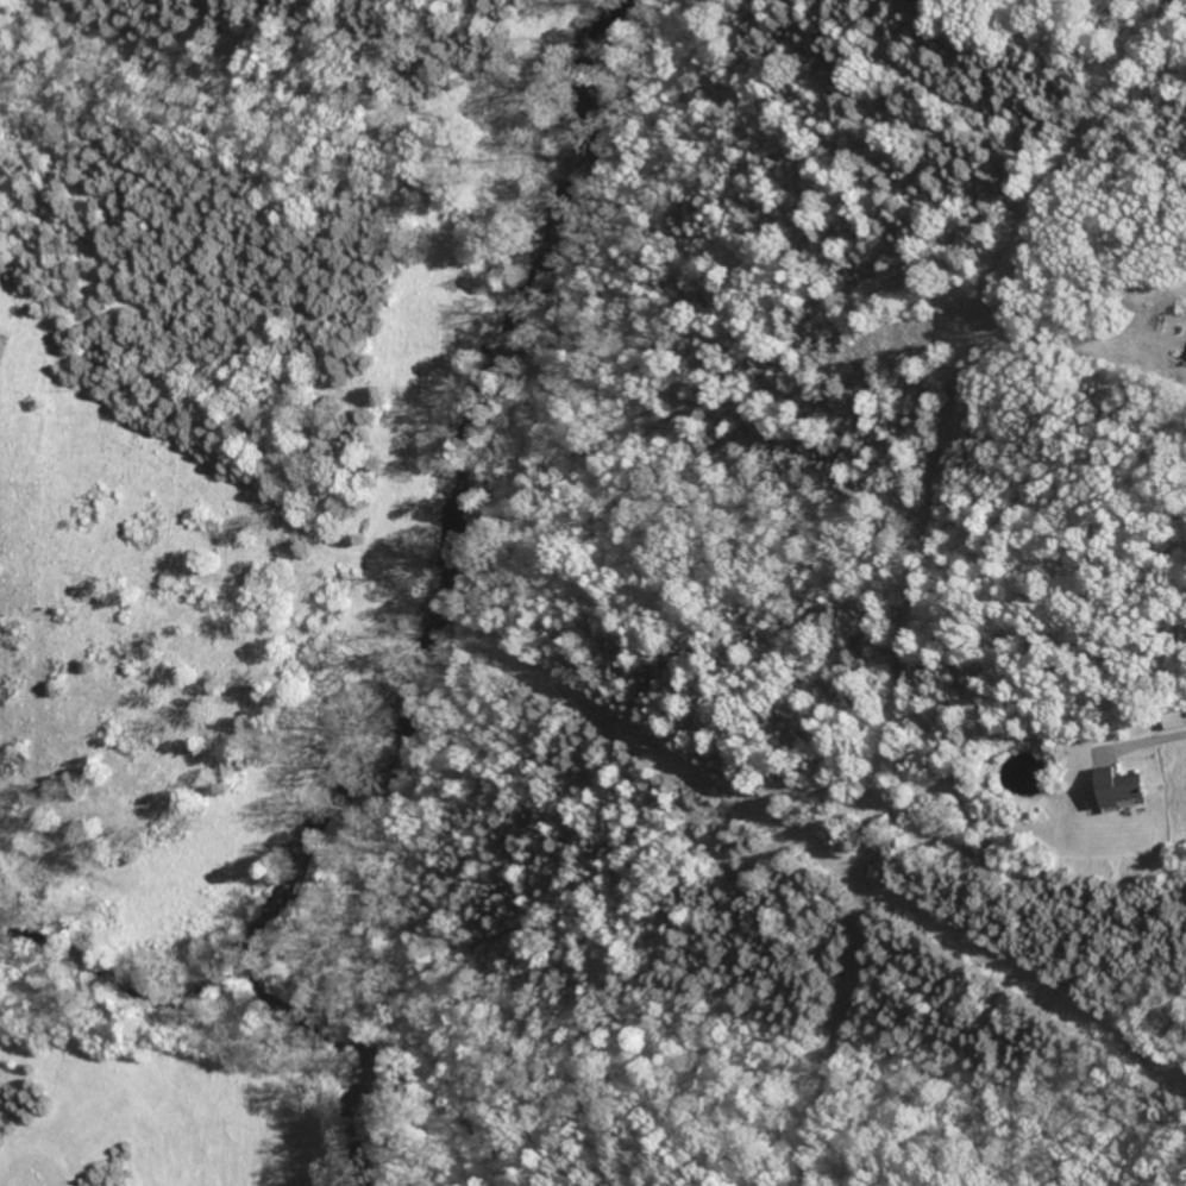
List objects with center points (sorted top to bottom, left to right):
road: (1144, 742)
building: (1122, 786)

